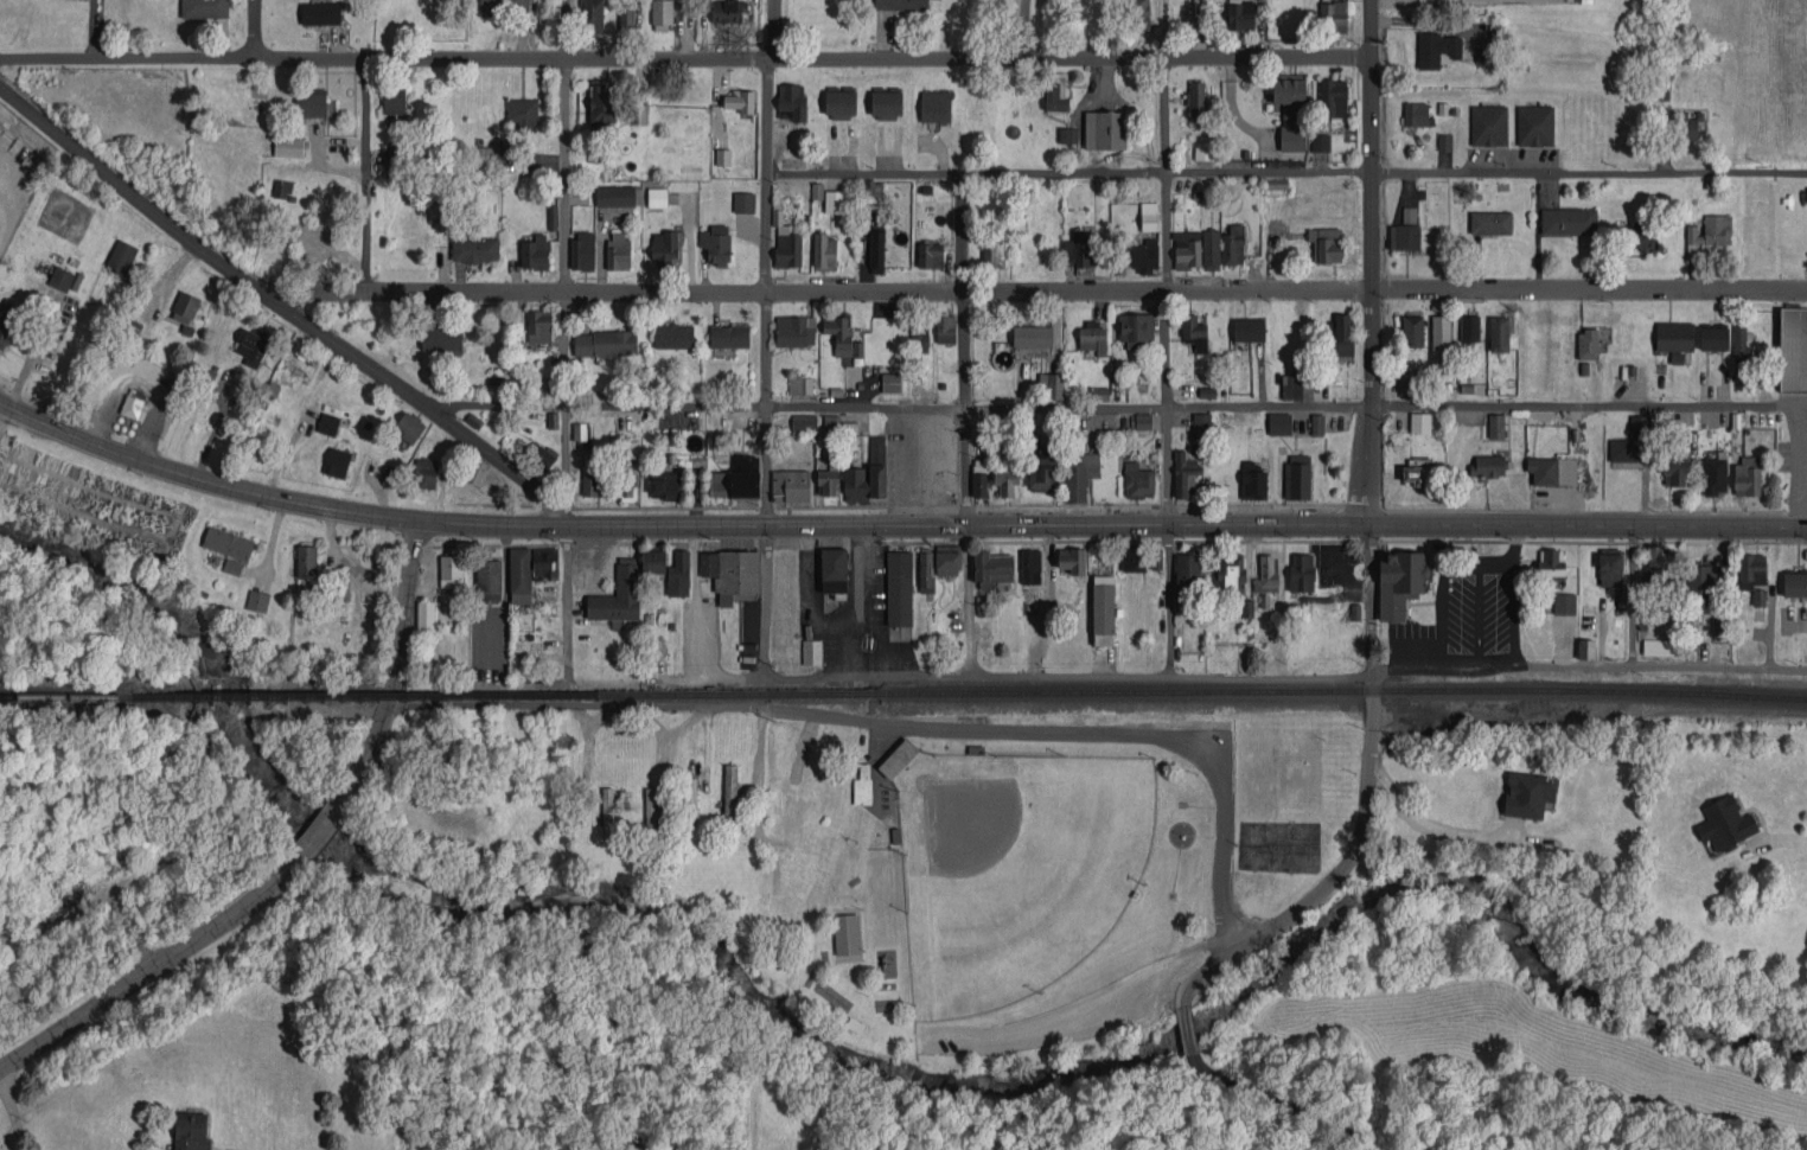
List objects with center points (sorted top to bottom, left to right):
building: (503, 5)
building: (901, 5)
building: (204, 8)
building: (729, 11)
building: (320, 13)
building: (1139, 13)
building: (626, 14)
building: (662, 14)
building: (1240, 14)
building: (592, 15)
building: (1333, 15)
road: (1023, 28)
road: (255, 30)
building: (1436, 49)
road: (685, 59)
building: (1289, 95)
building: (1333, 97)
building: (394, 98)
building: (1195, 98)
building: (739, 101)
building: (792, 101)
building: (839, 101)
building: (311, 102)
building: (886, 103)
building: (934, 106)
building: (522, 113)
building: (1417, 113)
building: (1489, 124)
building: (1534, 124)
building: (1685, 124)
building: (1105, 129)
building: (1068, 134)
building: (1292, 138)
building: (1444, 141)
building: (1321, 142)
building: (288, 146)
road: (564, 146)
road: (768, 146)
building: (1203, 152)
building: (486, 155)
building: (722, 156)
building: (392, 162)
building: (788, 162)
road: (365, 174)
road: (1286, 174)
building: (1275, 186)
road: (17, 187)
building: (282, 189)
building: (1806, 189)
building: (817, 190)
building: (617, 196)
building: (657, 197)
building: (834, 200)
building: (743, 202)
road: (5, 204)
building: (439, 206)
building: (1409, 215)
building: (1149, 216)
building: (553, 217)
road: (1372, 217)
building: (1569, 221)
building: (1490, 222)
building: (1709, 232)
road: (962, 234)
building: (1636, 235)
building: (1404, 236)
building: (786, 242)
building: (715, 243)
building: (1326, 243)
building: (1233, 244)
building: (475, 248)
building: (665, 248)
building: (618, 249)
building: (1079, 249)
building: (1187, 249)
building: (1211, 249)
building: (824, 250)
building: (582, 251)
building: (876, 251)
building: (535, 253)
building: (992, 253)
building: (930, 255)
building: (121, 256)
building: (1144, 256)
building: (60, 277)
road: (1036, 290)
road: (1167, 290)
building: (185, 306)
road: (282, 307)
building: (8, 322)
building: (538, 326)
building: (1469, 327)
building: (945, 328)
building: (1249, 328)
building: (794, 330)
building: (1136, 330)
building: (1412, 330)
building: (1194, 332)
building: (919, 333)
building: (1343, 333)
building: (1499, 333)
building: (1441, 334)
building: (673, 336)
building: (729, 336)
building: (842, 336)
building: (1033, 336)
building: (1093, 336)
building: (1674, 336)
building: (442, 337)
building: (1713, 338)
building: (1738, 340)
building: (605, 343)
building: (1588, 344)
building: (253, 347)
road: (563, 347)
building: (1793, 347)
road: (32, 349)
road: (765, 349)
building: (890, 382)
building: (799, 384)
building: (1052, 384)
building: (1407, 384)
building: (1297, 386)
building: (536, 388)
building: (1207, 391)
building: (1099, 392)
road: (498, 401)
road: (1185, 405)
building: (134, 407)
road: (966, 407)
building: (1201, 420)
building: (804, 421)
building: (1143, 421)
building: (1279, 422)
building: (1420, 422)
building: (328, 423)
building: (831, 423)
building: (1317, 423)
building: (1496, 426)
building: (408, 427)
building: (579, 432)
building: (1633, 441)
building: (539, 454)
building: (337, 461)
road: (564, 464)
road: (765, 465)
building: (1487, 465)
building: (1042, 469)
building: (1552, 469)
building: (1417, 471)
building: (475, 472)
building: (1674, 472)
building: (426, 473)
building: (868, 473)
building: (1185, 473)
building: (1716, 473)
building: (390, 474)
building: (1079, 474)
building: (1297, 475)
building: (1747, 475)
building: (590, 477)
road: (1371, 478)
building: (736, 479)
building: (1005, 479)
building: (1137, 480)
building: (1252, 480)
building: (828, 481)
building: (978, 484)
park: (489, 485)
building: (664, 485)
building: (790, 485)
road: (676, 524)
road: (1589, 524)
building: (228, 543)
road: (1514, 543)
building: (947, 558)
building: (1132, 558)
building: (1072, 560)
building: (1156, 560)
building: (307, 561)
building: (653, 561)
building: (1551, 561)
building: (544, 562)
road: (1477, 562)
building: (1655, 563)
building: (232, 566)
building: (1030, 566)
building: (1610, 567)
building: (832, 569)
building: (991, 569)
building: (1187, 569)
building: (451, 570)
building: (925, 570)
building: (1230, 570)
building: (1751, 570)
building: (1302, 571)
building: (678, 574)
building: (732, 574)
building: (519, 575)
building: (1266, 575)
building: (1704, 576)
building: (489, 579)
building: (1399, 582)
building: (1794, 583)
building: (899, 588)
building: (618, 595)
building: (1621, 596)
building: (257, 600)
road: (970, 600)
road: (1168, 601)
road: (761, 602)
building: (1564, 602)
building: (1103, 609)
building: (426, 614)
road: (564, 614)
road: (1514, 614)
road: (1479, 616)
road: (1443, 620)
building: (1659, 646)
building: (1586, 649)
building: (811, 651)
road: (1281, 681)
railway: (1345, 690)
railway: (509, 695)
railway: (66, 696)
road: (899, 727)
building: (898, 758)
park: (1297, 773)
park: (1259, 774)
building: (862, 785)
building: (730, 793)
building: (1528, 793)
building: (690, 794)
road: (1366, 805)
building: (607, 812)
building: (651, 812)
building: (1725, 823)
road: (1443, 833)
road: (1787, 837)
park: (1277, 845)
road: (299, 856)
park: (1015, 870)
park: (1064, 870)
building: (847, 934)
road: (1078, 1012)
road: (1189, 1033)
road: (1288, 1101)
road: (13, 1111)
building: (191, 1130)

